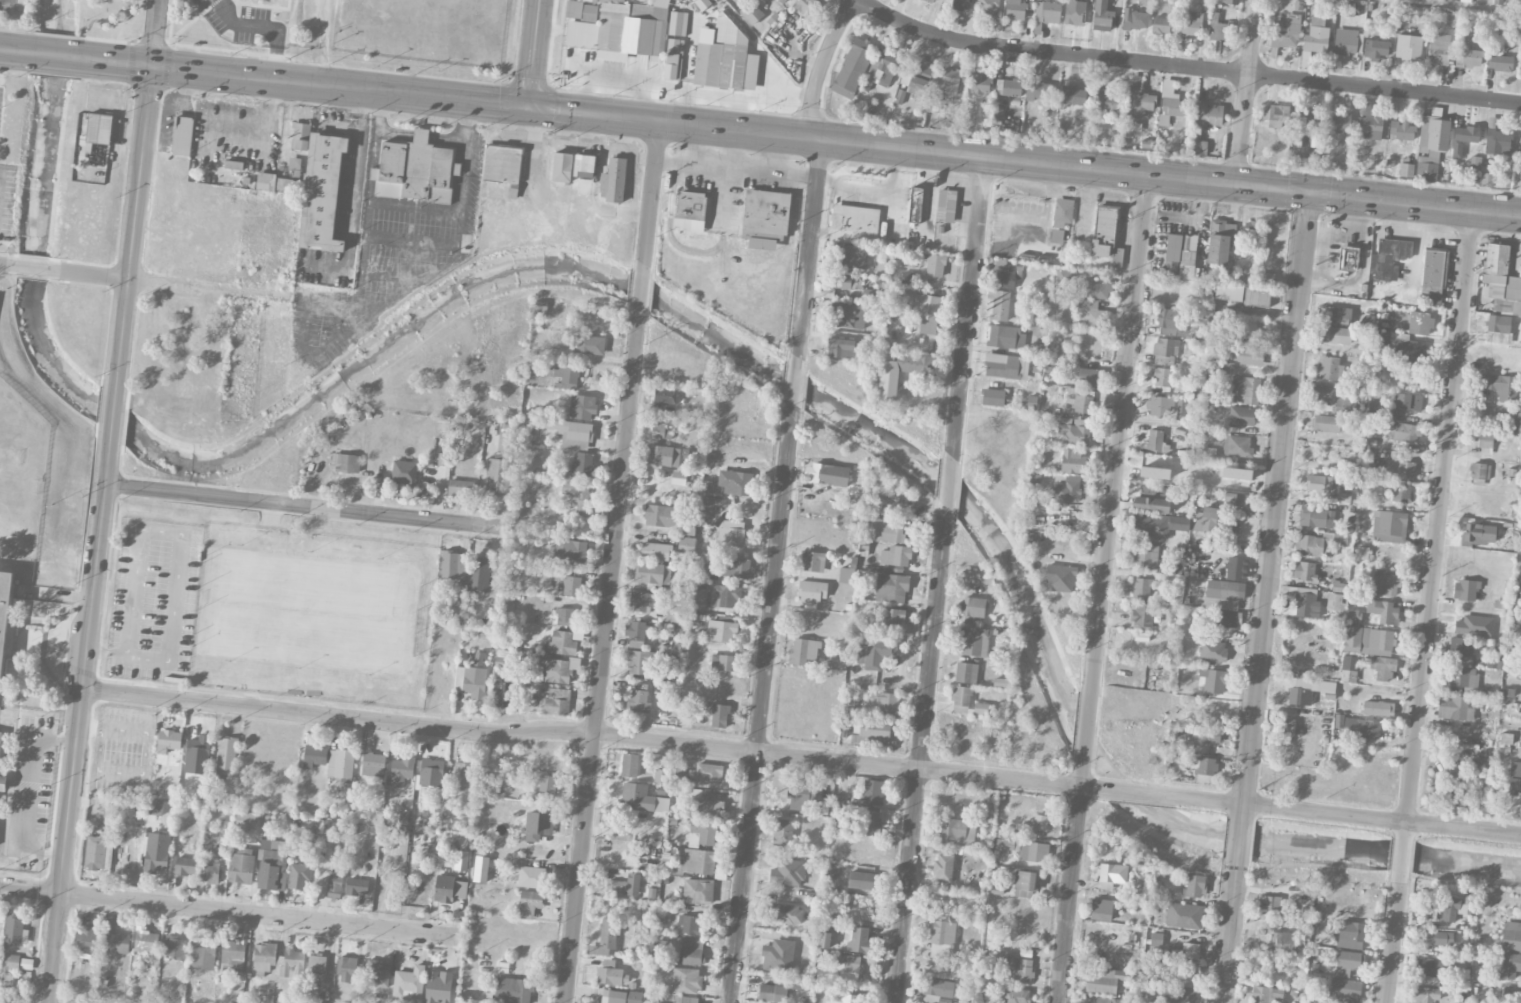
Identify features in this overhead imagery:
building: (596, 0)
building: (646, 0)
building: (680, 0)
building: (781, 1)
building: (933, 1)
building: (1498, 1)
building: (1231, 2)
building: (702, 4)
parking lot: (7, 5)
building: (962, 5)
building: (804, 6)
road: (1466, 6)
building: (989, 7)
building: (1016, 9)
building: (581, 11)
building: (1074, 12)
building: (751, 13)
building: (1046, 14)
building: (1102, 16)
building: (1135, 20)
building: (677, 24)
building: (1191, 24)
building: (1161, 26)
road: (264, 28)
building: (1219, 29)
road: (155, 32)
building: (616, 32)
building: (1285, 32)
building: (1315, 39)
building: (1345, 41)
building: (1375, 49)
building: (1438, 49)
road: (18, 50)
road: (534, 52)
road: (762, 53)
road: (57, 54)
building: (721, 56)
building: (1468, 57)
building: (674, 59)
building: (1520, 62)
building: (1500, 63)
traffic signals: (152, 65)
road: (821, 65)
building: (853, 68)
road: (1187, 68)
building: (881, 70)
building: (920, 77)
building: (950, 81)
building: (979, 84)
building: (1008, 87)
building: (1040, 92)
road: (1247, 92)
building: (1073, 96)
building: (1105, 99)
building: (1138, 101)
traffic signals: (529, 105)
building: (1174, 107)
building: (1207, 115)
building: (1276, 115)
building: (1308, 120)
building: (1341, 122)
building: (1370, 127)
building: (97, 131)
building: (1402, 131)
building: (1466, 134)
road: (800, 135)
building: (182, 136)
building: (1314, 140)
building: (1498, 142)
building: (1431, 146)
road: (735, 148)
building: (1199, 148)
building: (1456, 149)
building: (1519, 153)
building: (502, 164)
building: (584, 166)
building: (562, 167)
road: (736, 168)
building: (415, 170)
building: (1405, 170)
building: (1486, 180)
building: (614, 181)
building: (273, 183)
road: (652, 190)
building: (322, 193)
road: (351, 197)
building: (914, 205)
building: (946, 206)
building: (689, 212)
building: (1063, 212)
building: (765, 218)
building: (856, 222)
road: (135, 229)
building: (1254, 230)
building: (1106, 235)
building: (1220, 241)
building: (1189, 242)
road: (809, 245)
building: (852, 255)
building: (1172, 256)
building: (1347, 259)
building: (1389, 259)
road: (5, 265)
building: (1188, 265)
building: (935, 266)
road: (30, 268)
building: (1434, 268)
building: (1519, 272)
building: (1004, 274)
building: (1219, 275)
building: (1063, 277)
building: (1501, 280)
building: (1266, 281)
building: (842, 282)
road: (169, 284)
road: (641, 288)
building: (1097, 288)
building: (871, 296)
building: (1250, 298)
road: (969, 304)
building: (999, 304)
building: (540, 311)
building: (926, 313)
building: (1092, 315)
building: (1335, 315)
building: (848, 316)
building: (1170, 319)
building: (1498, 329)
building: (1336, 335)
building: (1006, 338)
building: (588, 345)
building: (841, 348)
building: (1411, 351)
building: (1165, 352)
building: (1247, 356)
building: (1006, 367)
building: (1330, 369)
building: (1088, 377)
building: (1162, 377)
building: (566, 378)
road: (794, 378)
building: (1502, 386)
building: (887, 387)
building: (1248, 389)
building: (1323, 395)
building: (665, 396)
building: (993, 397)
building: (1079, 400)
building: (1408, 402)
building: (1160, 406)
building: (582, 407)
building: (1181, 410)
building: (1379, 411)
road: (115, 415)
building: (1242, 417)
building: (1516, 420)
building: (1327, 424)
building: (1404, 431)
building: (570, 433)
building: (1073, 433)
building: (660, 434)
road: (1119, 434)
building: (1155, 440)
building: (505, 442)
building: (1485, 442)
building: (1238, 445)
building: (663, 456)
building: (1073, 461)
building: (348, 463)
building: (583, 465)
building: (1154, 468)
building: (1398, 469)
building: (404, 472)
building: (1480, 472)
building: (826, 474)
building: (1236, 474)
building: (497, 477)
building: (678, 478)
building: (735, 482)
building: (1321, 484)
road: (949, 486)
building: (459, 488)
building: (1067, 489)
building: (1400, 492)
building: (579, 497)
building: (1151, 499)
building: (1237, 501)
road: (307, 506)
building: (707, 506)
road: (1275, 506)
building: (660, 516)
building: (1313, 517)
building: (1206, 520)
road: (1438, 524)
building: (1154, 526)
building: (1389, 526)
building: (885, 530)
building: (731, 533)
building: (1478, 535)
building: (686, 545)
building: (1311, 545)
building: (570, 549)
building: (656, 551)
building: (896, 556)
building: (1145, 557)
building: (813, 562)
building: (453, 566)
building: (735, 567)
building: (1234, 568)
building: (701, 570)
building: (1305, 572)
building: (652, 573)
building: (479, 574)
building: (847, 574)
building: (1060, 579)
building: (1386, 583)
building: (571, 586)
building: (1338, 587)
building: (891, 588)
building: (1142, 588)
building: (1465, 590)
building: (812, 592)
building: (1222, 595)
building: (723, 596)
building: (699, 598)
building: (1334, 601)
building: (644, 602)
building: (1306, 605)
building: (973, 607)
building: (1384, 612)
building: (1142, 615)
building: (672, 616)
building: (1353, 616)
building: (564, 617)
building: (4, 619)
building: (892, 619)
building: (1226, 619)
building: (1474, 626)
building: (721, 630)
building: (637, 634)
building: (974, 641)
building: (1368, 641)
building: (560, 644)
building: (1463, 647)
building: (804, 651)
building: (1213, 651)
road: (136, 653)
building: (876, 653)
building: (533, 657)
building: (1496, 657)
road: (602, 658)
building: (639, 662)
building: (722, 663)
building: (1349, 663)
building: (1383, 668)
building: (966, 673)
building: (1464, 679)
building: (471, 681)
building: (1213, 681)
building: (501, 694)
building: (961, 699)
building: (555, 701)
building: (639, 701)
road: (760, 702)
building: (887, 703)
building: (1378, 708)
building: (982, 709)
building: (1455, 709)
building: (719, 716)
road: (79, 719)
building: (1339, 721)
road: (1087, 727)
building: (1287, 728)
building: (1362, 728)
building: (870, 732)
road: (592, 733)
building: (0, 741)
building: (169, 741)
building: (198, 755)
building: (314, 756)
building: (226, 759)
building: (549, 761)
road: (921, 761)
building: (373, 765)
building: (629, 765)
building: (1203, 766)
building: (341, 767)
building: (402, 771)
building: (709, 772)
building: (431, 773)
building: (661, 776)
building: (462, 777)
building: (1514, 778)
building: (3, 783)
building: (548, 784)
building: (1449, 784)
road: (21, 792)
building: (873, 792)
road: (1150, 794)
building: (636, 797)
building: (800, 797)
building: (219, 798)
building: (711, 806)
building: (155, 808)
road: (1359, 816)
building: (245, 820)
building: (870, 821)
building: (1040, 823)
building: (539, 827)
building: (957, 831)
building: (327, 832)
building: (783, 832)
building: (702, 833)
road: (1239, 842)
building: (157, 852)
building: (1034, 852)
building: (95, 853)
building: (461, 861)
building: (698, 861)
road: (1401, 861)
building: (242, 865)
building: (185, 866)
building: (943, 868)
building: (210, 873)
building: (788, 873)
building: (1111, 876)
building: (298, 877)
building: (531, 877)
building: (862, 881)
building: (336, 882)
road: (1072, 882)
building: (1025, 884)
building: (1195, 885)
building: (624, 886)
building: (357, 887)
building: (449, 889)
building: (698, 891)
building: (529, 903)
building: (1269, 903)
building: (1452, 909)
building: (1101, 910)
road: (231, 913)
building: (787, 914)
building: (1184, 916)
building: (689, 924)
building: (15, 931)
road: (1229, 934)
building: (1351, 934)
building: (1511, 936)
building: (115, 938)
building: (605, 938)
building: (1438, 938)
building: (859, 939)
building: (825, 940)
building: (942, 940)
building: (1156, 940)
building: (86, 941)
building: (146, 941)
building: (1285, 942)
road: (1392, 944)
building: (175, 948)
building: (691, 950)
building: (1187, 951)
building: (204, 954)
building: (233, 956)
building: (778, 956)
building: (264, 957)
building: (11, 962)
building: (1348, 963)
building: (316, 964)
building: (1510, 965)
building: (289, 966)
building: (1015, 967)
building: (346, 969)
building: (843, 969)
building: (1429, 969)
building: (1478, 971)
building: (377, 974)
building: (611, 974)
building: (1183, 980)
building: (686, 981)
building: (1105, 981)
building: (409, 983)
building: (438, 987)
building: (513, 990)
building: (938, 991)
building: (1344, 991)
building: (1511, 992)
building: (772, 993)
building: (1017, 995)
building: (1262, 995)
building: (1424, 995)
building: (620, 997)
building: (1178, 997)
building: (844, 998)
building: (686, 999)
building: (990, 1000)
building: (1105, 1000)

